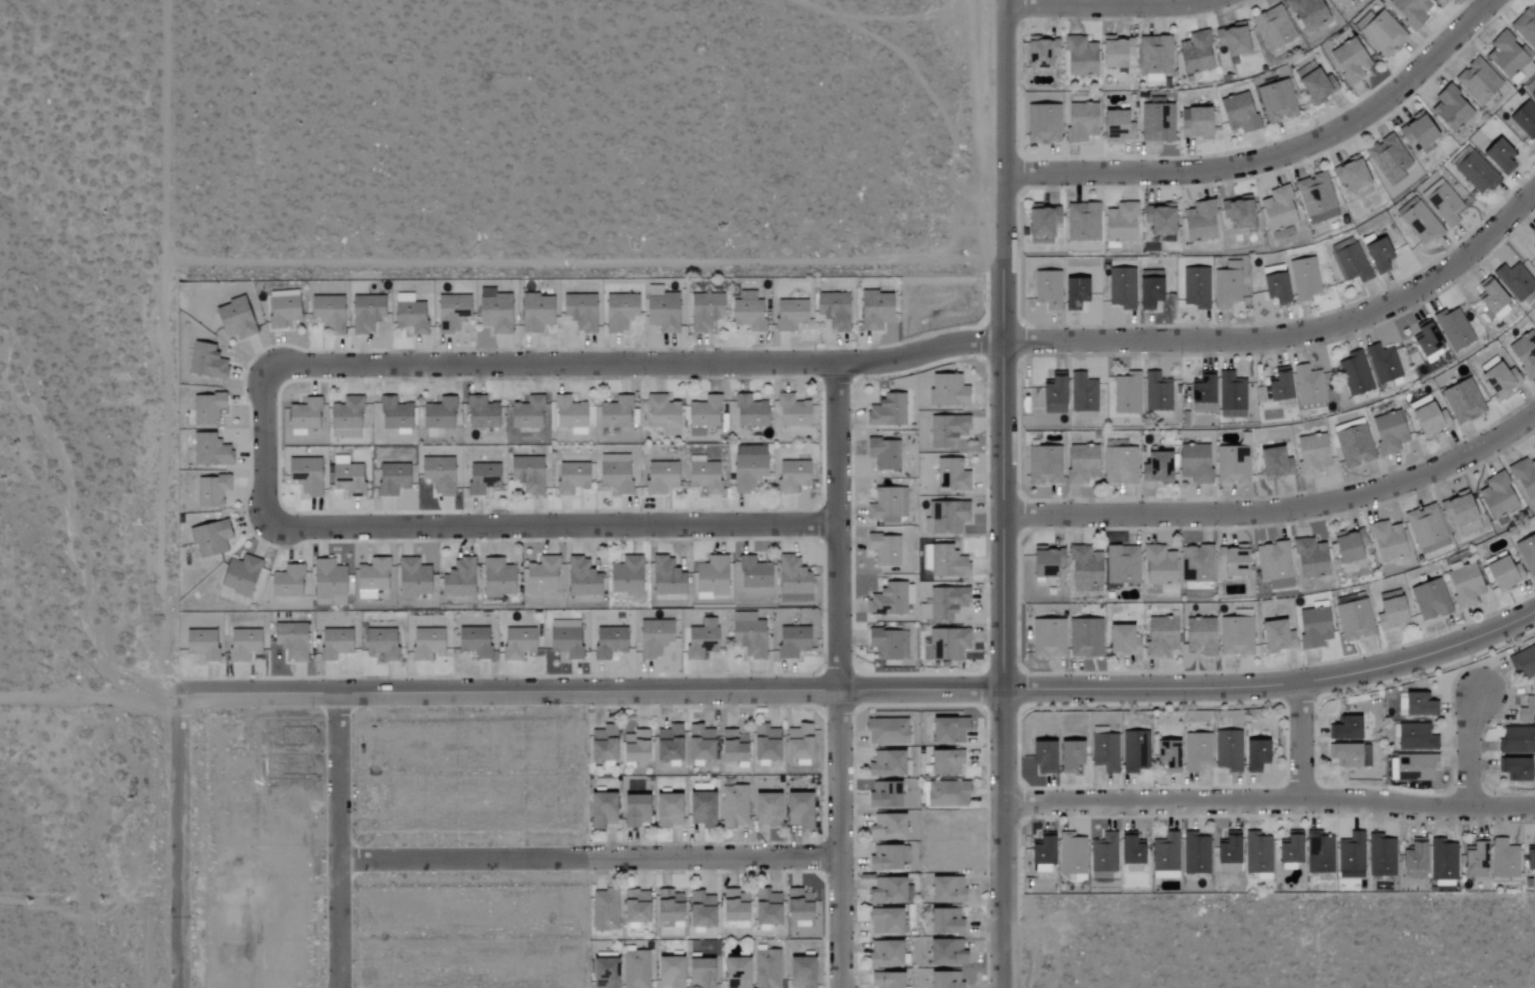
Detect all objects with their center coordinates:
building: (1438, 1)
building: (1339, 2)
road: (1110, 4)
building: (1409, 11)
building: (1307, 13)
building: (1525, 26)
building: (1273, 27)
building: (1380, 33)
building: (1231, 40)
building: (1040, 52)
building: (1114, 52)
building: (1195, 53)
building: (1155, 55)
building: (1506, 56)
building: (1079, 57)
building: (1348, 62)
building: (1478, 81)
building: (1316, 87)
building: (1531, 88)
building: (1276, 101)
building: (1450, 109)
building: (1238, 113)
building: (1525, 120)
building: (1080, 122)
building: (1043, 123)
building: (1157, 123)
building: (1195, 123)
building: (1116, 127)
building: (1416, 133)
road: (1275, 157)
building: (1388, 157)
building: (1499, 157)
building: (1476, 173)
building: (1350, 175)
building: (1316, 198)
building: (1444, 205)
building: (1277, 209)
building: (1236, 213)
building: (1041, 220)
building: (1159, 220)
building: (1199, 221)
building: (1083, 222)
building: (1120, 223)
building: (1420, 223)
building: (1533, 238)
building: (1533, 250)
building: (1378, 257)
building: (1349, 261)
building: (1231, 266)
building: (1304, 279)
building: (1515, 281)
building: (1274, 286)
building: (1196, 288)
building: (1121, 289)
building: (1148, 289)
building: (1225, 289)
building: (1047, 290)
building: (1073, 294)
building: (1492, 301)
building: (281, 308)
building: (660, 310)
building: (833, 310)
building: (873, 310)
building: (580, 312)
building: (619, 312)
building: (703, 312)
building: (747, 312)
building: (327, 313)
building: (450, 313)
building: (534, 313)
building: (364, 314)
building: (409, 314)
building: (788, 315)
building: (1453, 329)
building: (1427, 344)
road: (1004, 346)
road: (165, 349)
road: (922, 350)
building: (1524, 353)
building: (205, 362)
building: (1382, 363)
building: (1355, 374)
building: (1499, 381)
building: (1308, 385)
building: (1278, 386)
building: (947, 391)
building: (1157, 393)
building: (1201, 393)
building: (1053, 394)
building: (1127, 394)
building: (1231, 396)
building: (1462, 402)
building: (206, 410)
building: (886, 411)
building: (749, 412)
building: (791, 412)
building: (480, 413)
building: (613, 413)
building: (394, 414)
building: (527, 414)
building: (302, 415)
building: (437, 415)
building: (569, 415)
building: (662, 415)
building: (703, 415)
building: (345, 418)
building: (1428, 421)
building: (947, 430)
building: (1388, 433)
building: (1353, 445)
building: (883, 454)
building: (1311, 455)
building: (1194, 463)
building: (1080, 464)
building: (1274, 464)
building: (1044, 466)
building: (1119, 466)
building: (1232, 466)
building: (748, 468)
building: (1156, 468)
building: (614, 474)
building: (528, 475)
building: (950, 475)
building: (304, 476)
building: (703, 476)
building: (791, 476)
building: (570, 478)
building: (659, 478)
building: (1524, 478)
building: (348, 479)
building: (391, 479)
building: (211, 491)
building: (1497, 497)
building: (887, 504)
road: (1279, 509)
building: (1457, 511)
building: (948, 517)
building: (1425, 526)
road: (476, 527)
building: (209, 539)
building: (1386, 542)
building: (1348, 546)
building: (1434, 547)
building: (884, 550)
building: (1527, 554)
building: (925, 557)
building: (1310, 559)
building: (947, 562)
building: (1045, 562)
building: (1231, 562)
building: (1273, 562)
building: (1121, 565)
building: (1196, 565)
building: (1158, 566)
building: (1084, 568)
building: (541, 574)
building: (753, 574)
building: (1503, 575)
building: (625, 577)
building: (710, 577)
building: (371, 578)
building: (412, 578)
building: (581, 578)
building: (666, 578)
building: (458, 579)
building: (792, 581)
building: (328, 583)
building: (1464, 586)
building: (888, 600)
building: (1430, 600)
building: (946, 603)
building: (1390, 611)
building: (1354, 621)
building: (1313, 628)
building: (747, 635)
building: (1159, 637)
building: (1199, 637)
building: (1235, 637)
building: (1276, 637)
building: (653, 638)
building: (1047, 638)
building: (1084, 638)
building: (564, 639)
building: (290, 641)
building: (701, 641)
building: (1121, 641)
building: (473, 642)
building: (791, 642)
building: (516, 643)
building: (608, 643)
building: (884, 644)
building: (948, 644)
building: (201, 645)
building: (381, 645)
building: (243, 646)
building: (329, 650)
building: (1523, 663)
road: (837, 675)
road: (1275, 689)
road: (591, 696)
road: (90, 699)
building: (1418, 706)
building: (1527, 712)
building: (1344, 730)
building: (947, 731)
building: (886, 732)
building: (1416, 738)
building: (1516, 741)
building: (632, 743)
building: (667, 744)
building: (698, 744)
building: (764, 744)
building: (797, 744)
building: (601, 745)
road: (1306, 745)
building: (731, 747)
road: (1476, 749)
building: (1228, 751)
building: (1135, 752)
building: (1196, 752)
building: (1105, 753)
building: (1166, 756)
building: (1255, 756)
building: (1350, 756)
building: (1042, 757)
building: (1068, 757)
building: (945, 763)
building: (886, 765)
building: (1415, 768)
building: (1514, 770)
building: (946, 795)
building: (884, 796)
road: (1269, 802)
building: (701, 806)
building: (733, 807)
building: (666, 810)
building: (765, 810)
building: (797, 810)
building: (600, 811)
building: (633, 811)
building: (886, 827)
road: (1003, 840)
road: (181, 843)
road: (336, 843)
building: (1041, 853)
building: (1195, 853)
building: (1288, 853)
building: (1319, 853)
building: (1072, 854)
building: (1131, 854)
building: (1227, 854)
building: (1258, 855)
building: (1381, 855)
building: (1103, 856)
building: (1165, 856)
building: (1351, 856)
building: (1413, 856)
building: (1530, 857)
building: (884, 858)
building: (1504, 859)
road: (587, 860)
building: (1475, 860)
building: (1443, 863)
building: (945, 889)
building: (887, 890)
building: (732, 905)
building: (634, 906)
building: (667, 906)
building: (765, 907)
building: (797, 907)
building: (604, 910)
building: (699, 910)
building: (884, 921)
building: (944, 921)
building: (945, 952)
building: (884, 953)
building: (635, 969)
building: (766, 969)
building: (603, 972)
building: (668, 972)
building: (734, 972)
building: (800, 972)
building: (699, 973)
building: (943, 979)
building: (885, 980)

